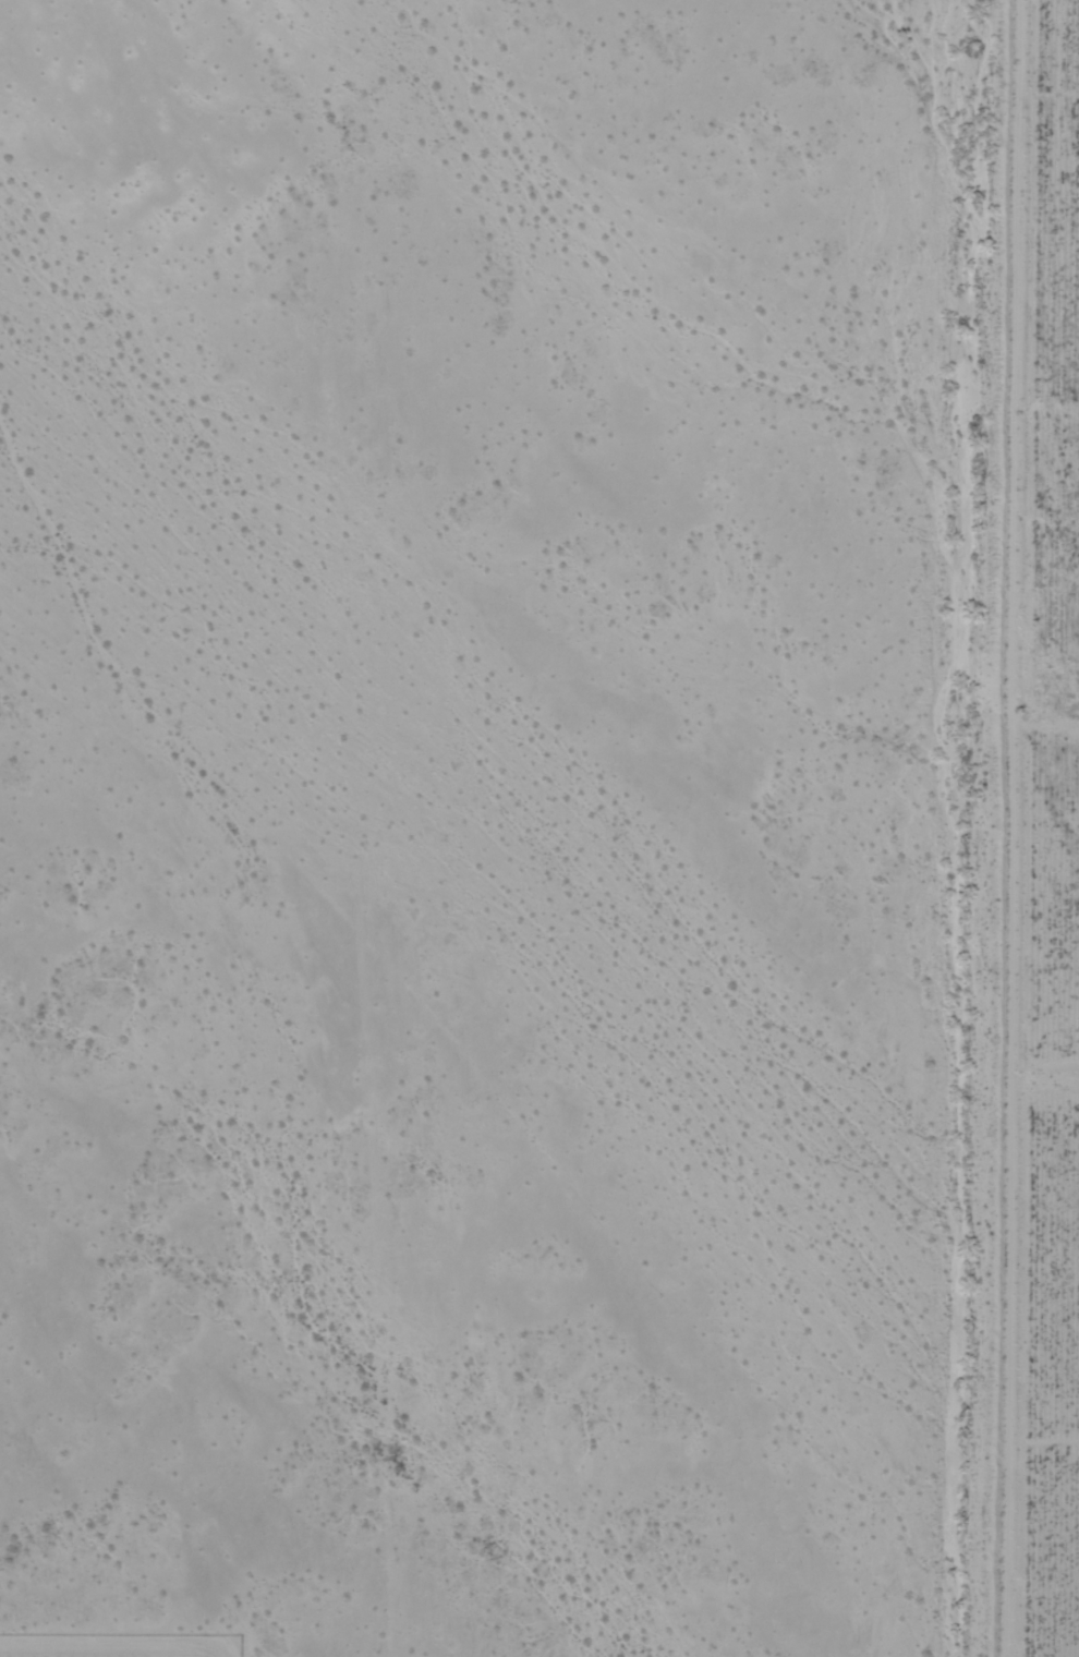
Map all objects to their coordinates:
solar farm: (121, 1646)

